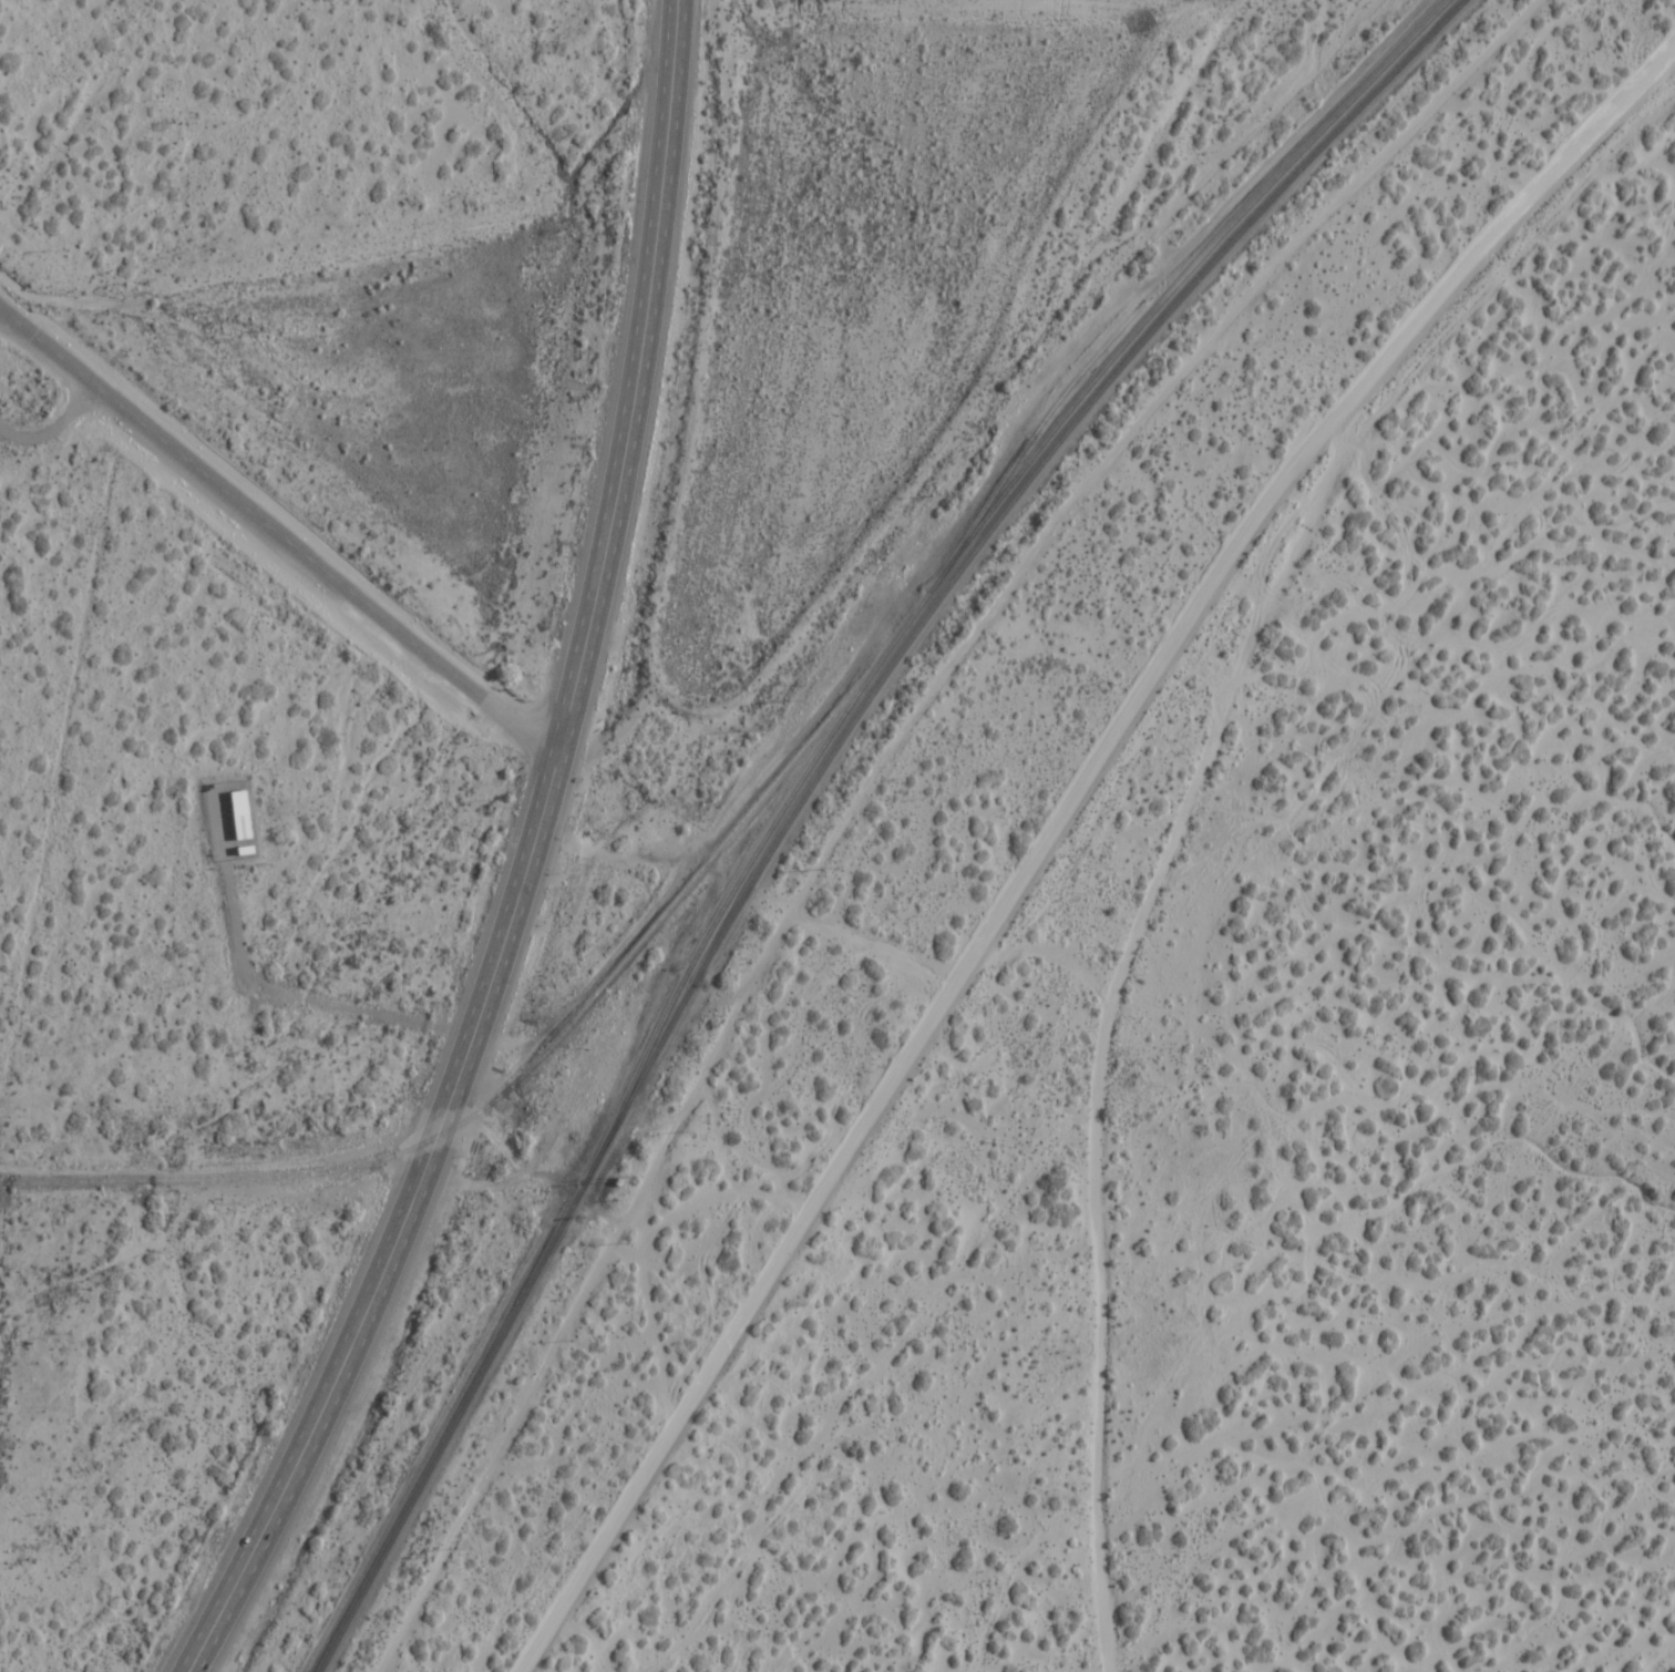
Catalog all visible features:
railway: (1036, 430)
road: (276, 532)
railway: (970, 533)
railway: (984, 535)
road: (772, 665)
road: (1188, 784)
building: (235, 816)
road: (527, 864)
railway: (534, 1063)
road: (884, 1121)
railway: (461, 1408)

